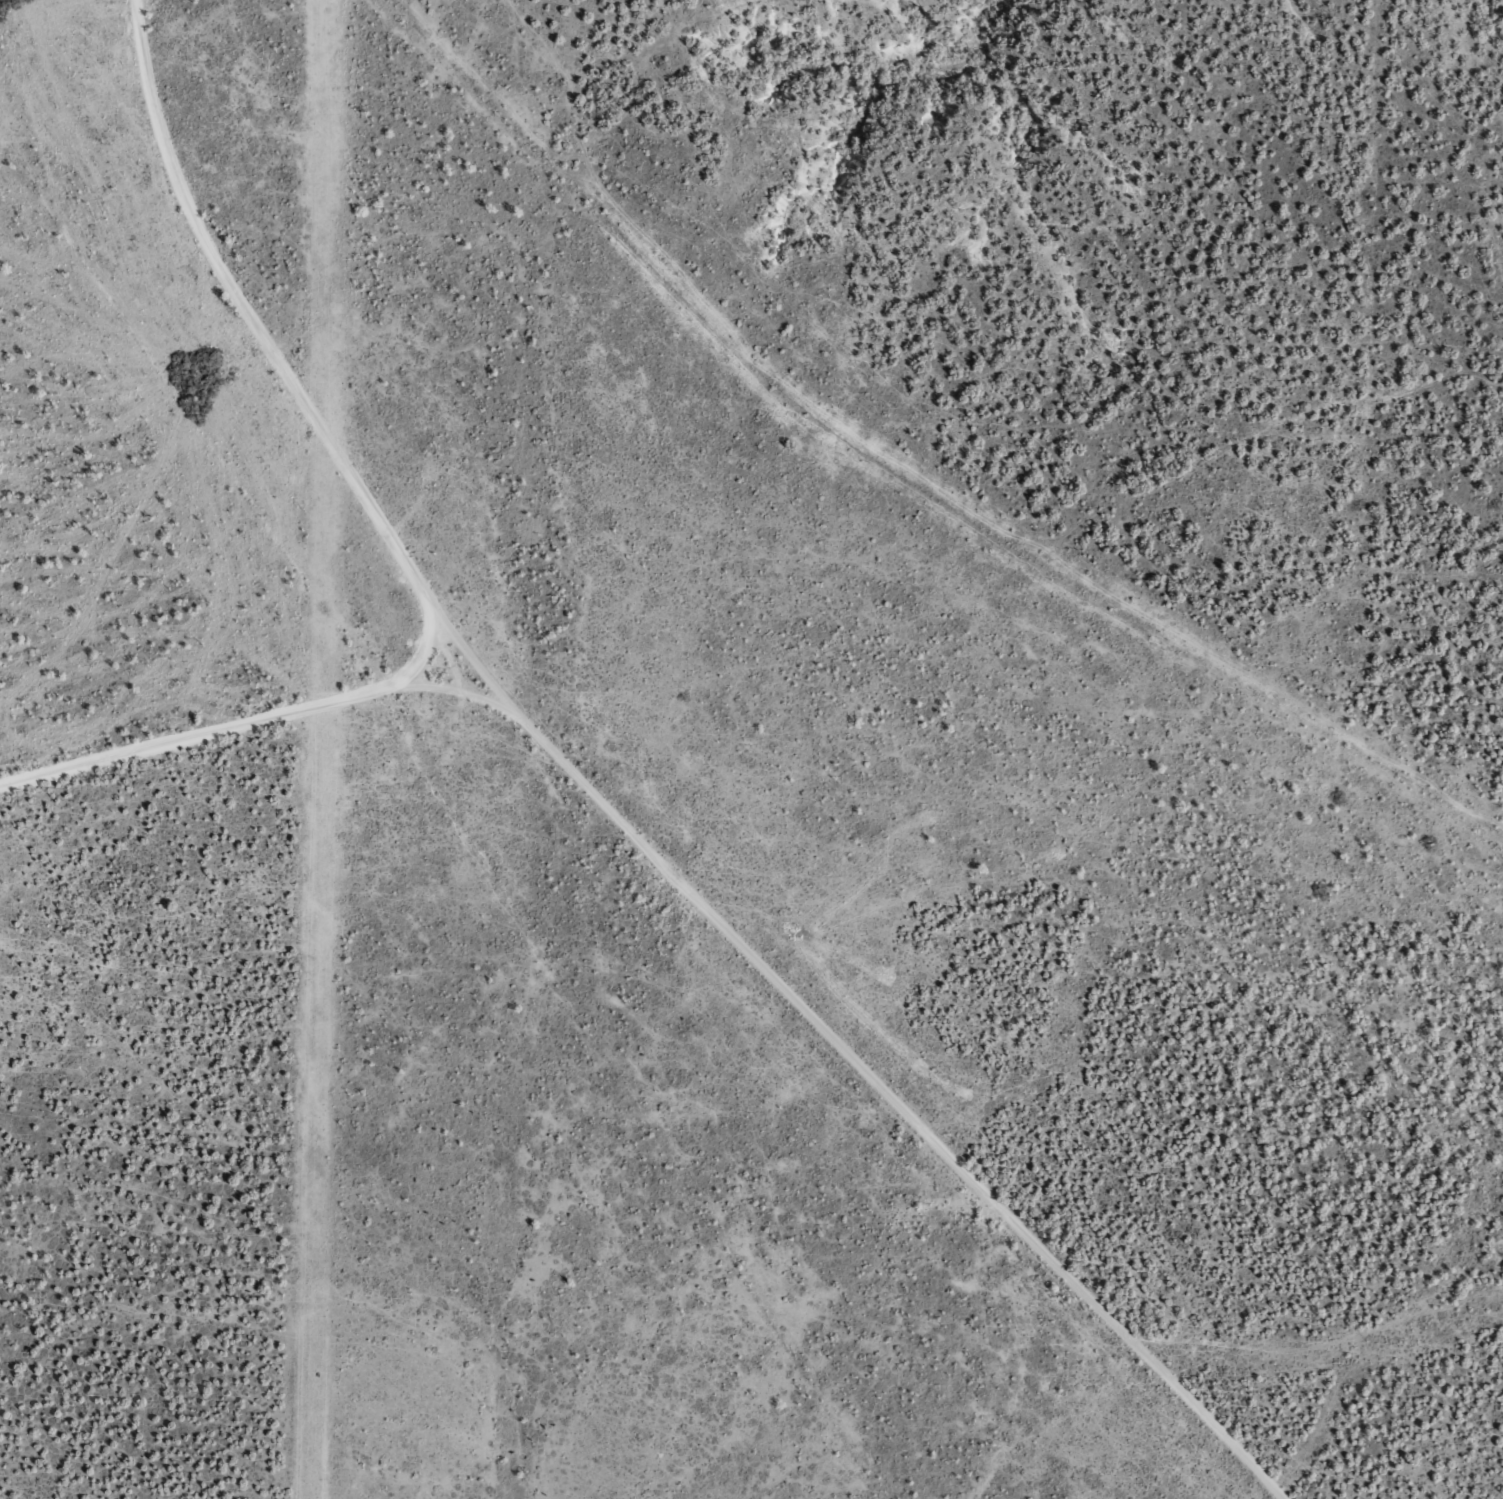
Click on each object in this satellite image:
road: (231, 773)
road: (623, 800)

